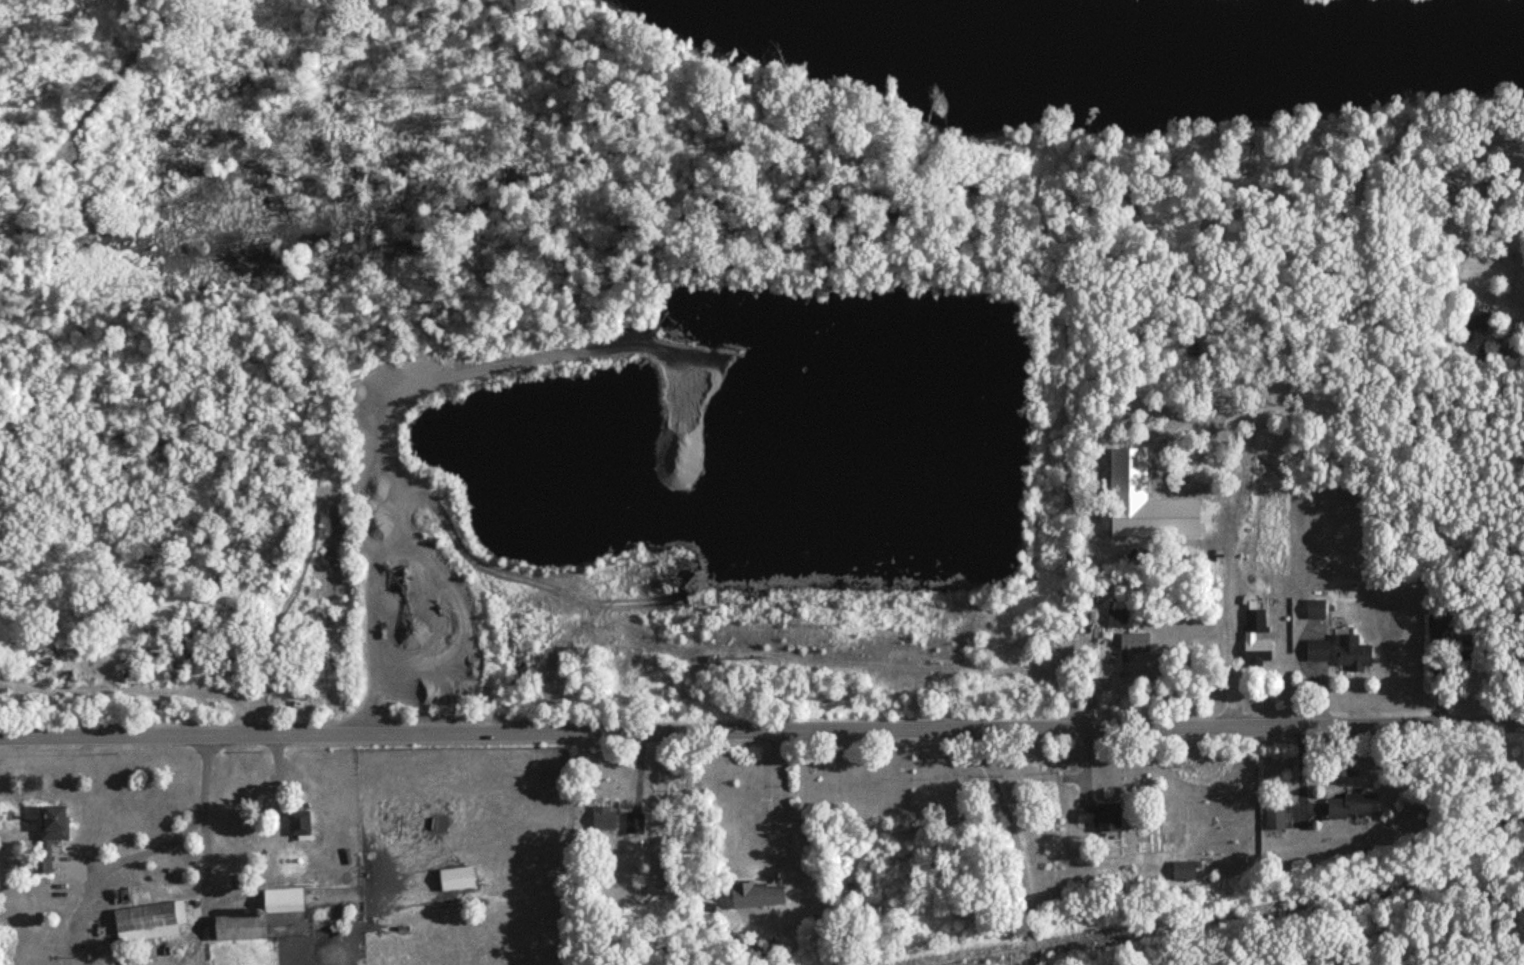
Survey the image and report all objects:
river: (1204, 43)
building: (1223, 218)
building: (1473, 316)
road: (1521, 540)
building: (1314, 609)
building: (1117, 618)
building: (1248, 637)
building: (1134, 642)
road: (1228, 646)
building: (1461, 650)
building: (1316, 651)
building: (1350, 654)
road: (762, 732)
road: (773, 794)
building: (1351, 806)
building: (1100, 817)
building: (1273, 817)
building: (603, 818)
building: (298, 823)
building: (633, 823)
building: (49, 833)
road: (165, 839)
road: (1015, 844)
building: (1183, 870)
road: (202, 872)
building: (455, 879)
building: (256, 915)
building: (147, 921)
building: (1316, 961)

